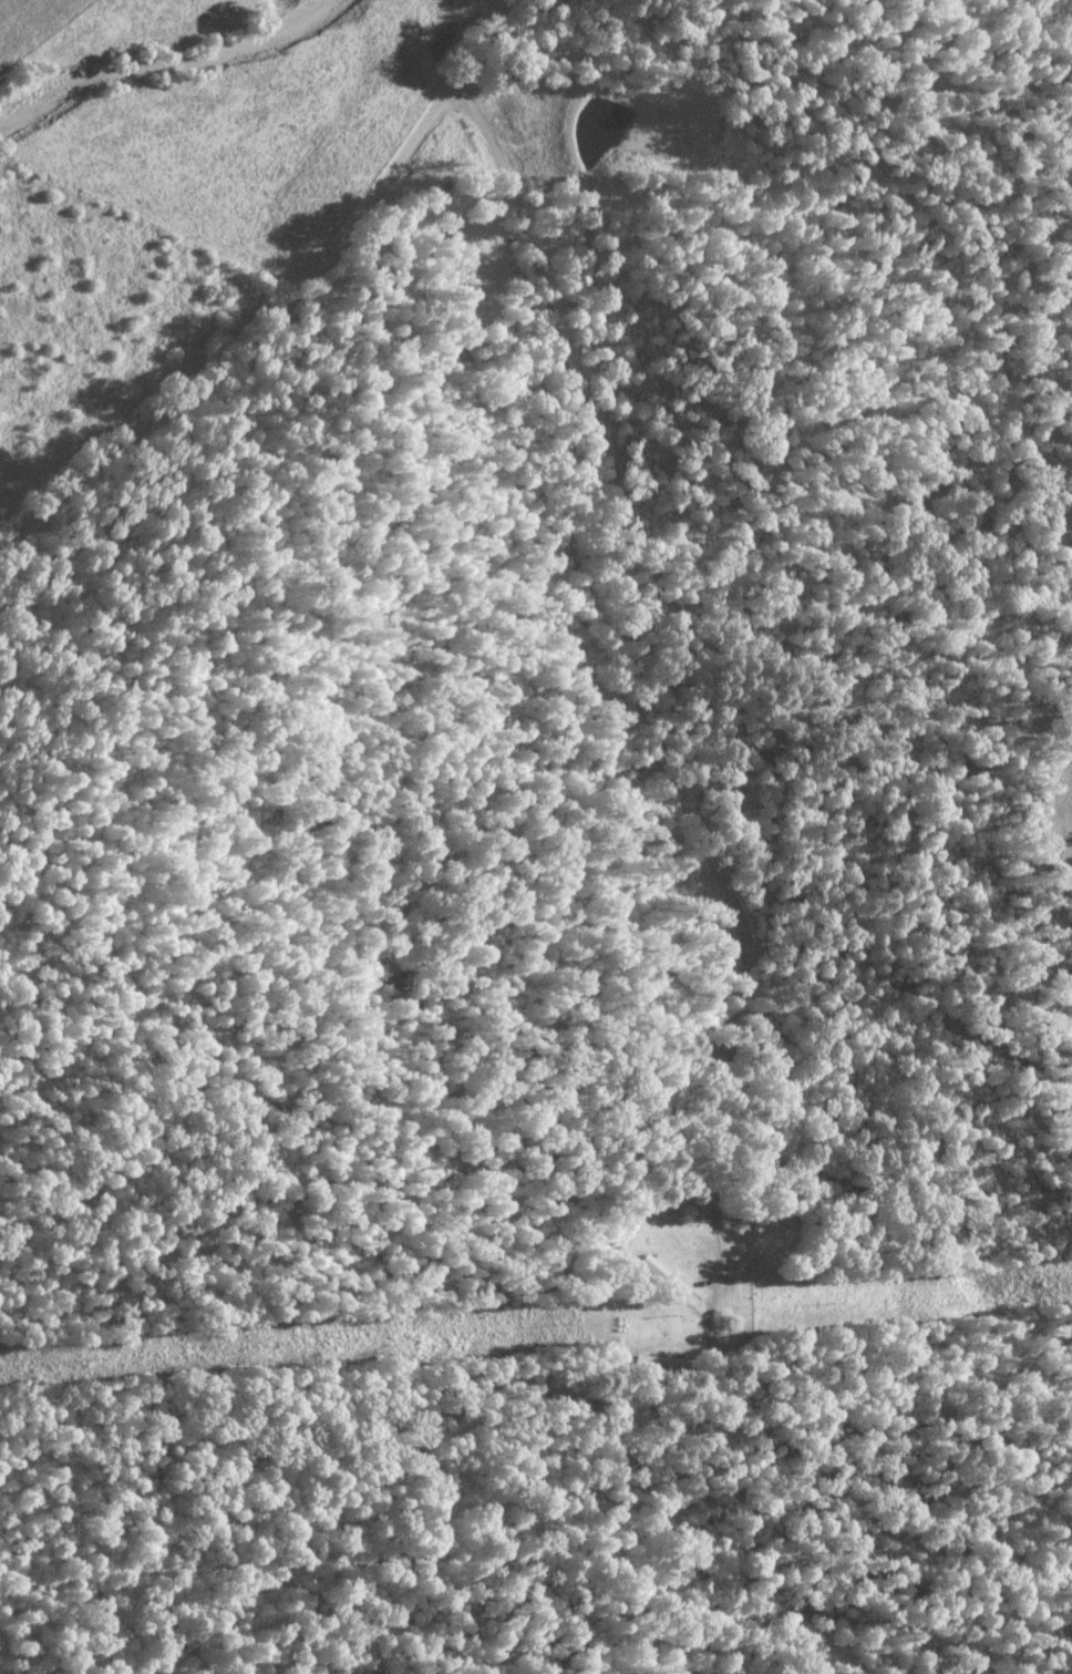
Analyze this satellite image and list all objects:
road: (295, 314)

